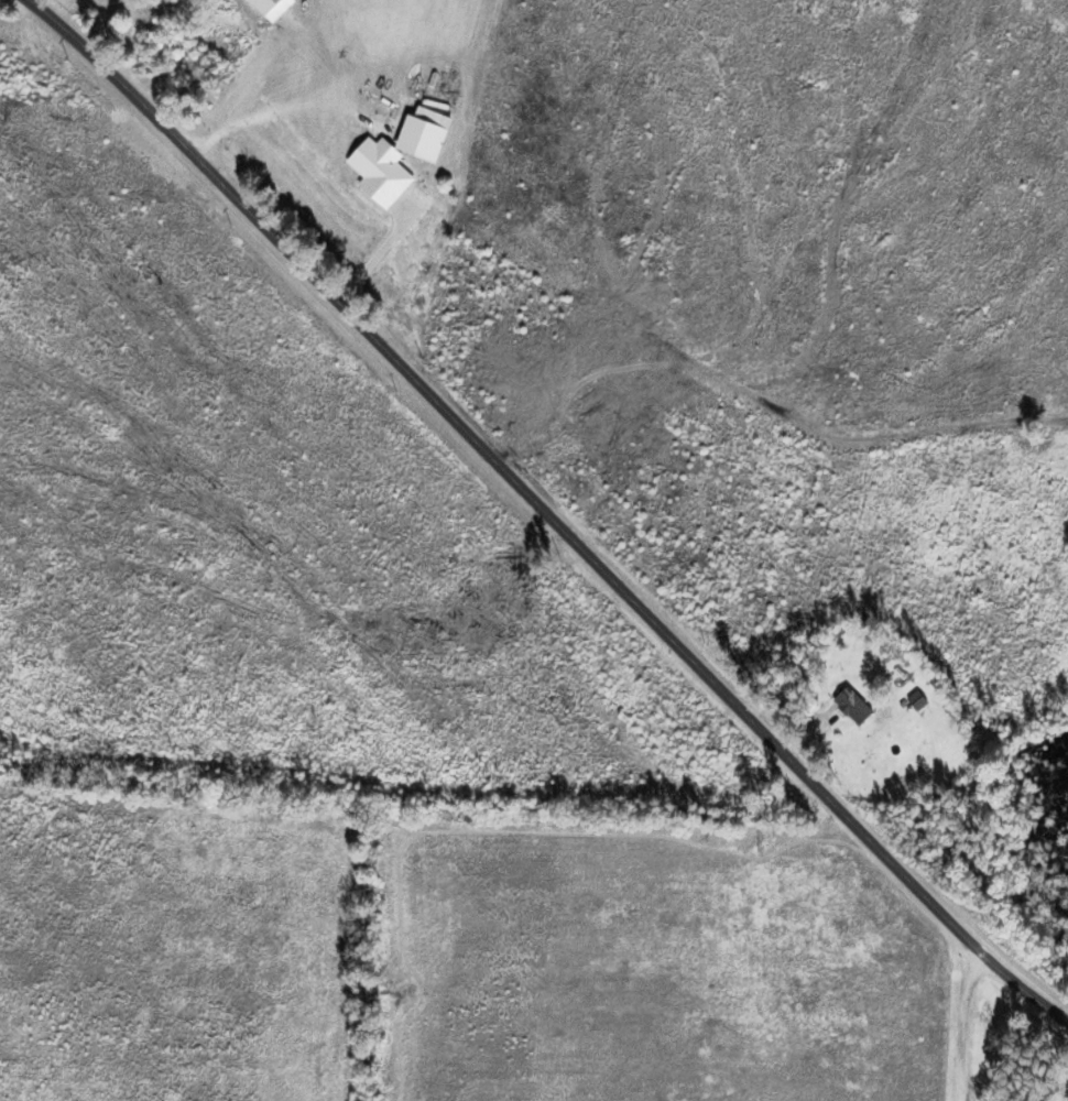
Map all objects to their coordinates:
road: (546, 513)
building: (860, 707)
road: (965, 1024)

